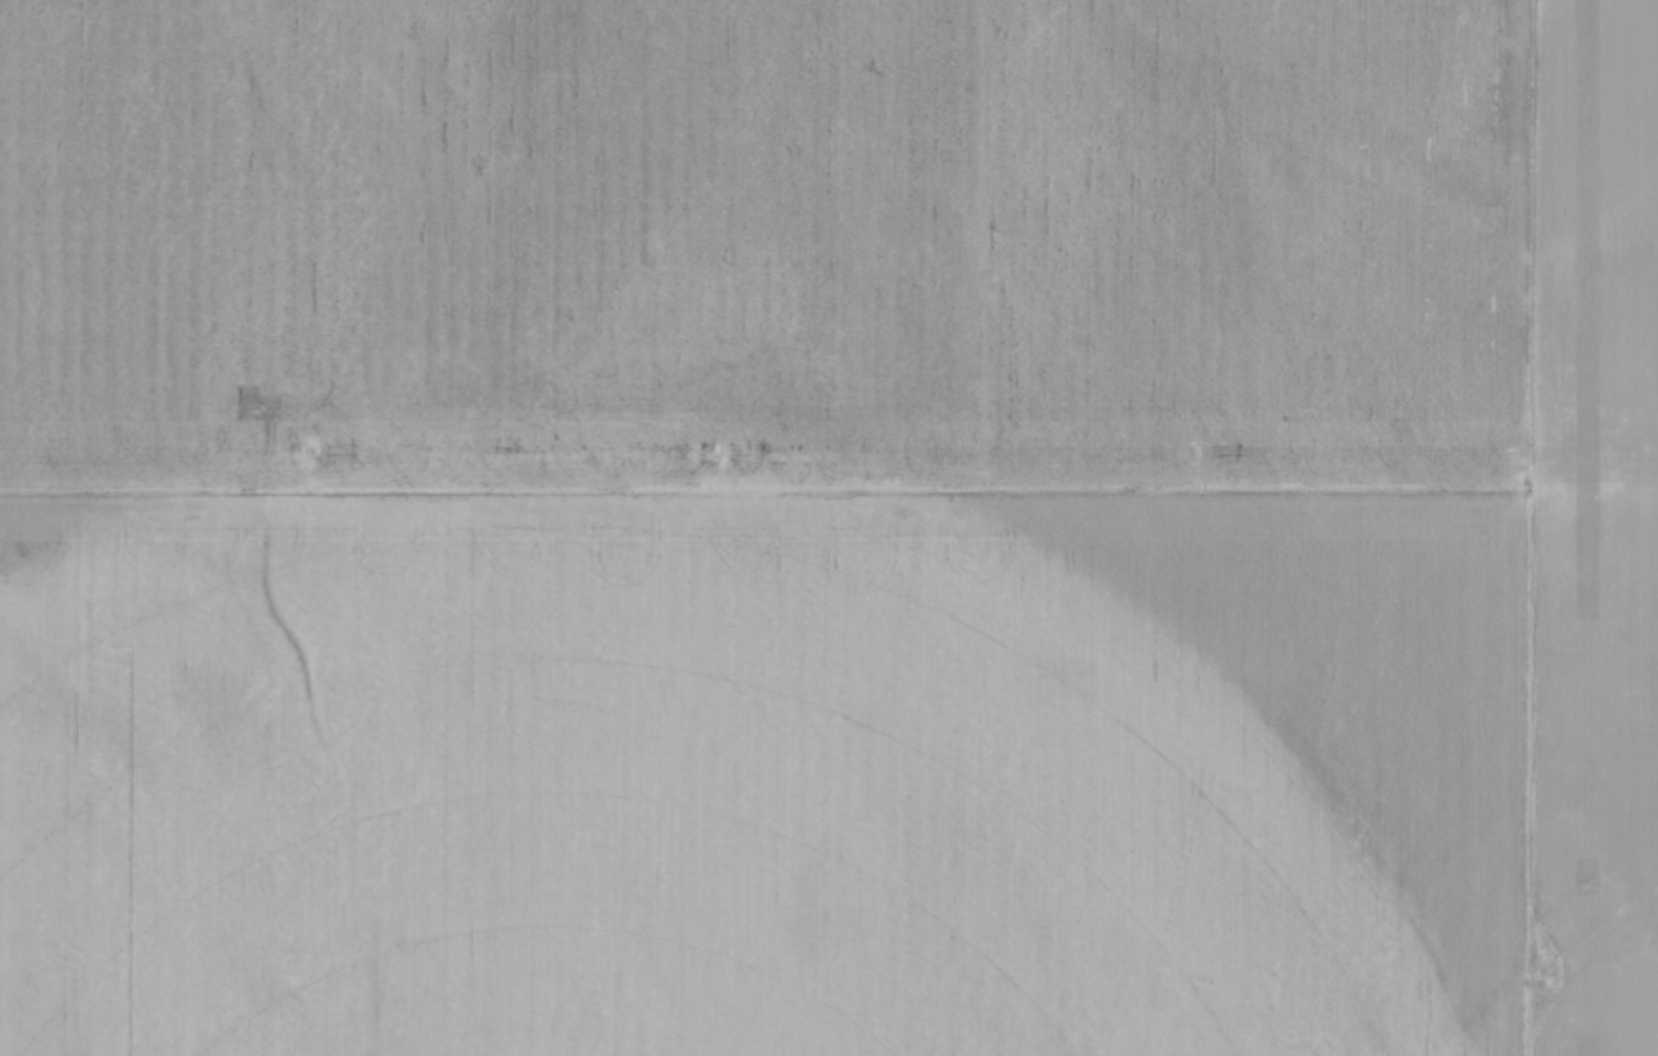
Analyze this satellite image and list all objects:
power tower: (719, 450)
power tower: (311, 452)
power tower: (1197, 452)

